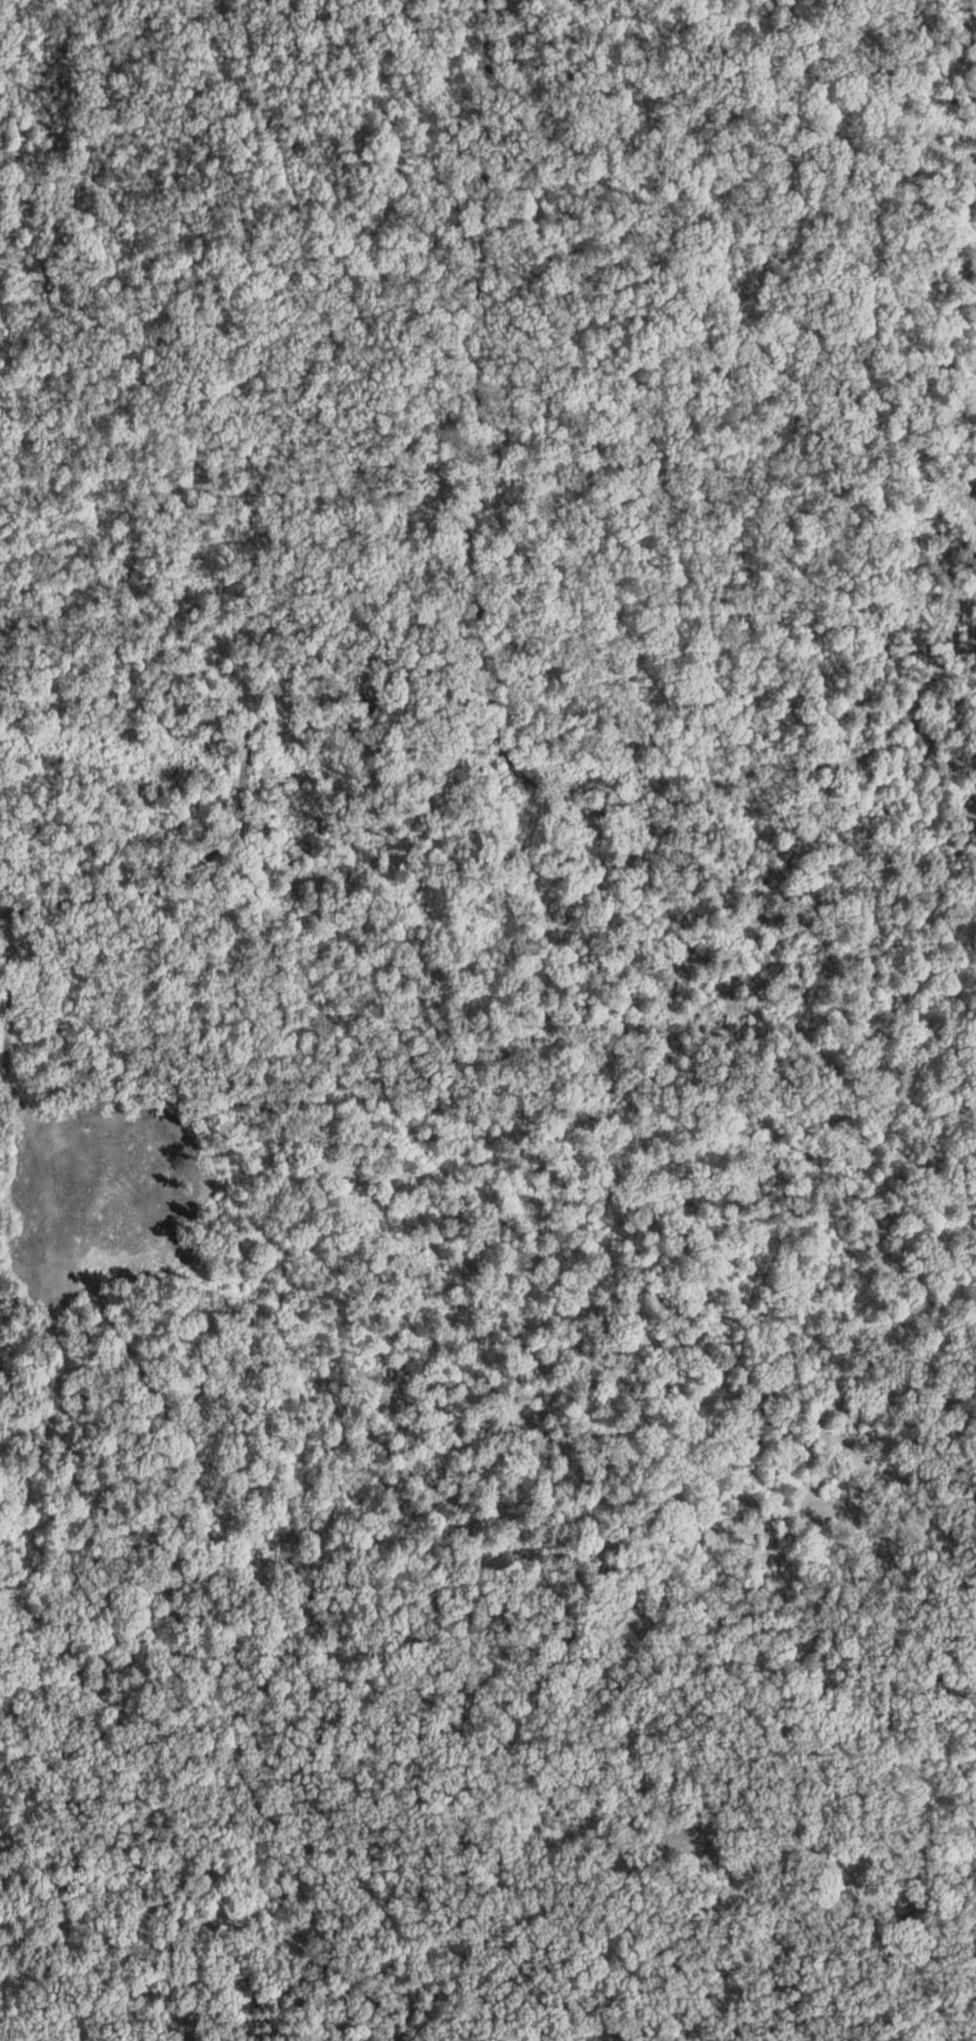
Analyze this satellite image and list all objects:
road: (9, 189)
road: (474, 263)

